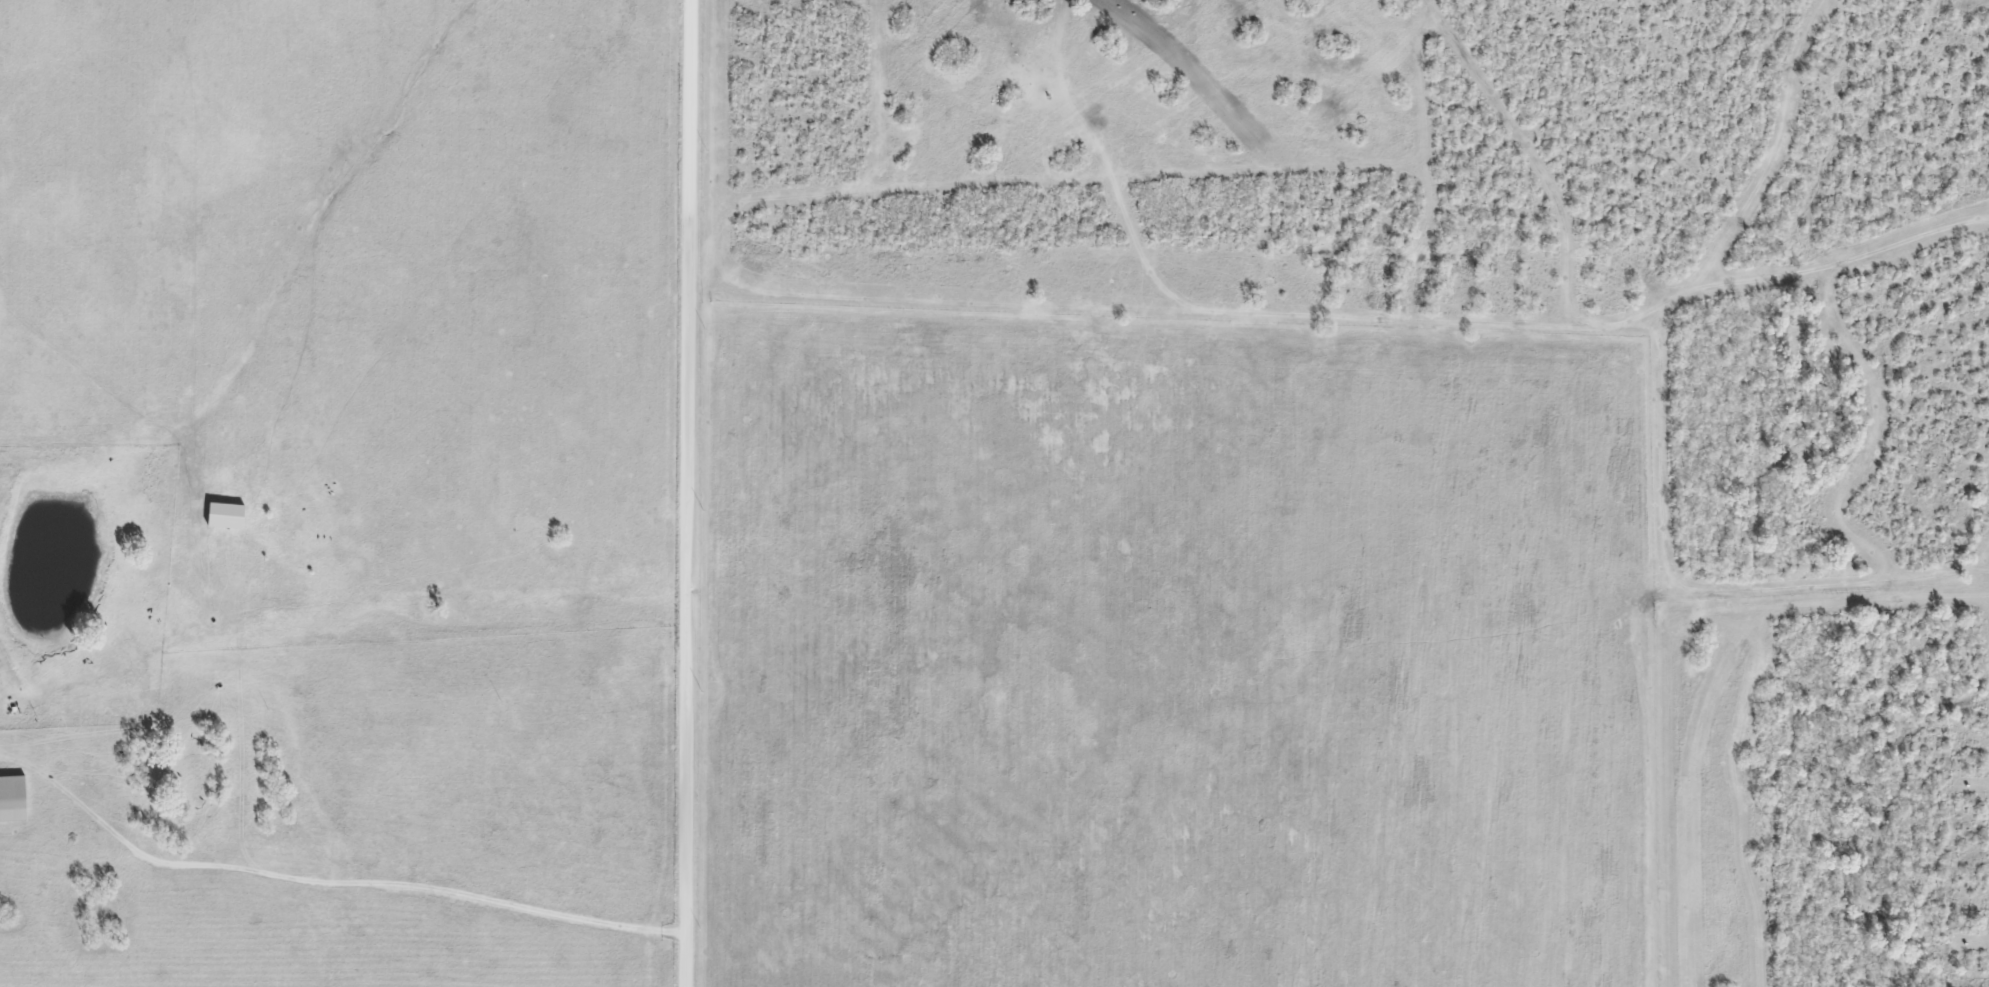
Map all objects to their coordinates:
road: (693, 493)
building: (11, 797)
road: (372, 881)

